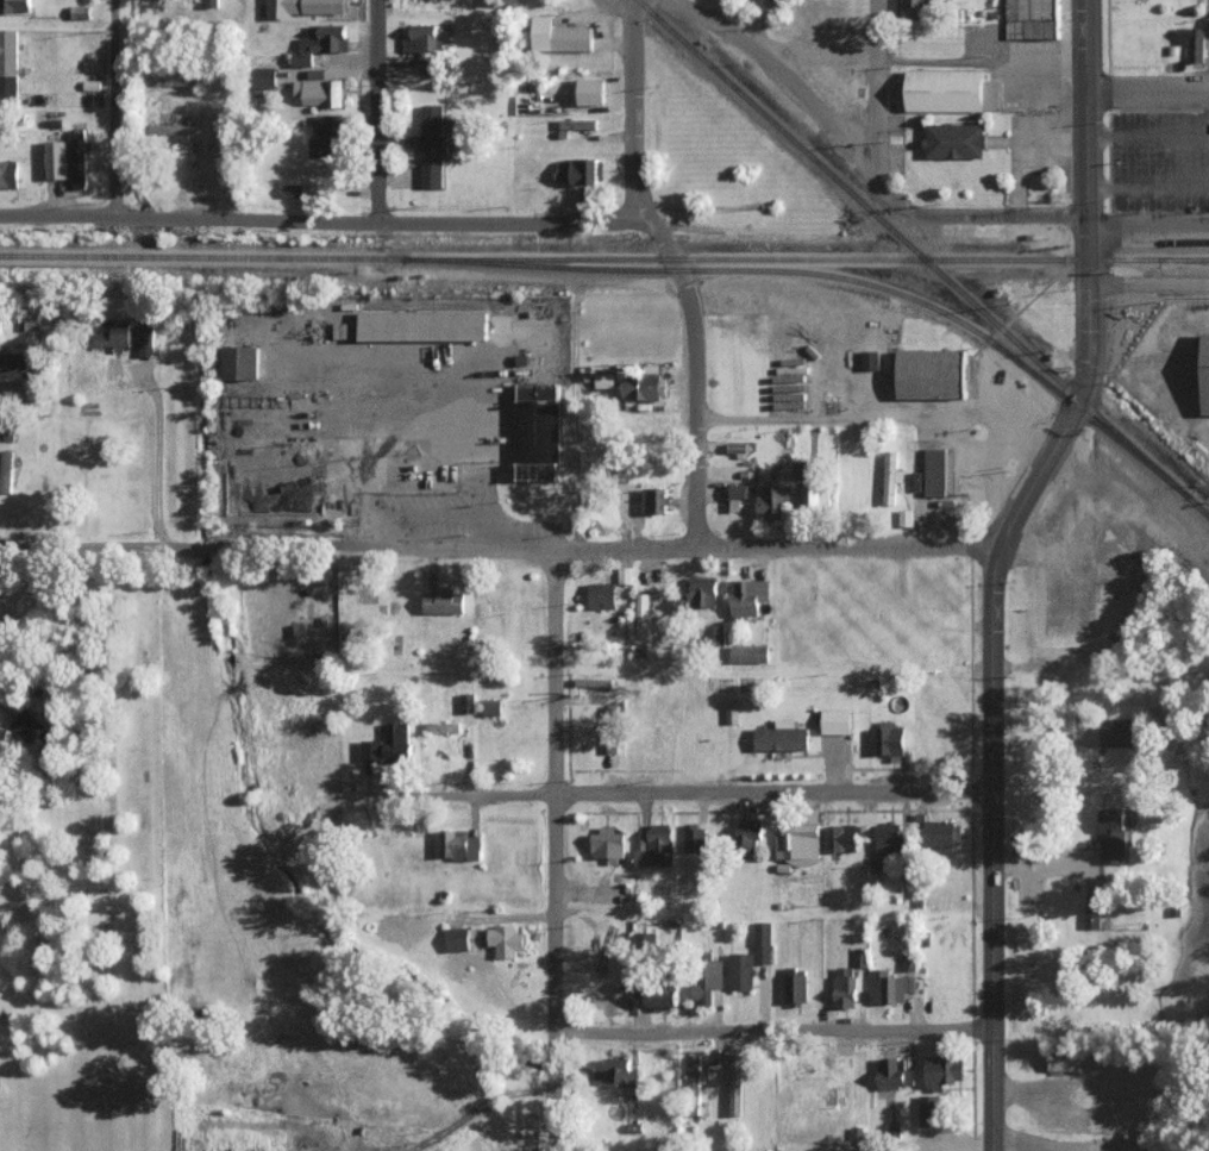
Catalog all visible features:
building: (15, 5)
road: (618, 5)
building: (301, 7)
building: (919, 8)
building: (81, 11)
building: (562, 36)
building: (421, 37)
building: (320, 42)
building: (1192, 42)
road: (965, 61)
building: (8, 63)
road: (782, 75)
building: (264, 77)
building: (174, 79)
building: (320, 89)
building: (951, 90)
building: (593, 92)
road: (1146, 92)
road: (876, 101)
road: (112, 108)
road: (375, 111)
building: (171, 129)
building: (433, 129)
road: (1146, 135)
building: (327, 137)
building: (956, 140)
building: (79, 157)
building: (57, 158)
parking lot: (1159, 161)
building: (578, 170)
building: (8, 173)
building: (432, 173)
road: (1146, 187)
building: (293, 189)
road: (984, 217)
road: (1146, 217)
road: (320, 220)
railway: (922, 254)
railway: (604, 261)
railway: (1197, 261)
road: (675, 271)
railway: (806, 275)
building: (30, 323)
building: (424, 325)
building: (114, 332)
building: (148, 337)
building: (871, 359)
building: (242, 362)
building: (18, 363)
building: (932, 373)
building: (1207, 374)
building: (604, 380)
building: (645, 387)
railway: (1080, 413)
road: (877, 419)
building: (539, 431)
building: (413, 451)
road: (159, 456)
building: (801, 470)
building: (6, 471)
building: (940, 471)
road: (997, 474)
building: (891, 476)
building: (738, 495)
building: (818, 495)
building: (656, 500)
building: (775, 501)
railway: (1188, 518)
railway: (1207, 526)
road: (497, 549)
road: (994, 562)
building: (1105, 569)
building: (1028, 577)
building: (702, 592)
building: (601, 595)
building: (747, 596)
building: (444, 601)
building: (643, 615)
building: (715, 631)
building: (750, 652)
building: (468, 702)
building: (733, 711)
building: (837, 721)
building: (613, 724)
building: (27, 725)
building: (443, 726)
building: (1119, 732)
building: (783, 736)
building: (2, 738)
building: (891, 740)
building: (389, 745)
road: (669, 792)
building: (750, 828)
building: (867, 832)
building: (1114, 834)
building: (797, 837)
building: (842, 837)
building: (695, 838)
building: (889, 838)
building: (608, 844)
building: (461, 845)
building: (657, 847)
road: (552, 850)
building: (1092, 918)
building: (458, 939)
building: (645, 939)
building: (506, 940)
building: (763, 942)
building: (860, 957)
building: (743, 970)
building: (708, 981)
building: (796, 987)
building: (845, 987)
building: (891, 987)
building: (663, 999)
road: (771, 1028)
building: (1065, 1059)
building: (620, 1070)
building: (945, 1070)
building: (895, 1074)
building: (737, 1084)
building: (932, 1109)
road: (481, 1111)
road: (1021, 1145)

